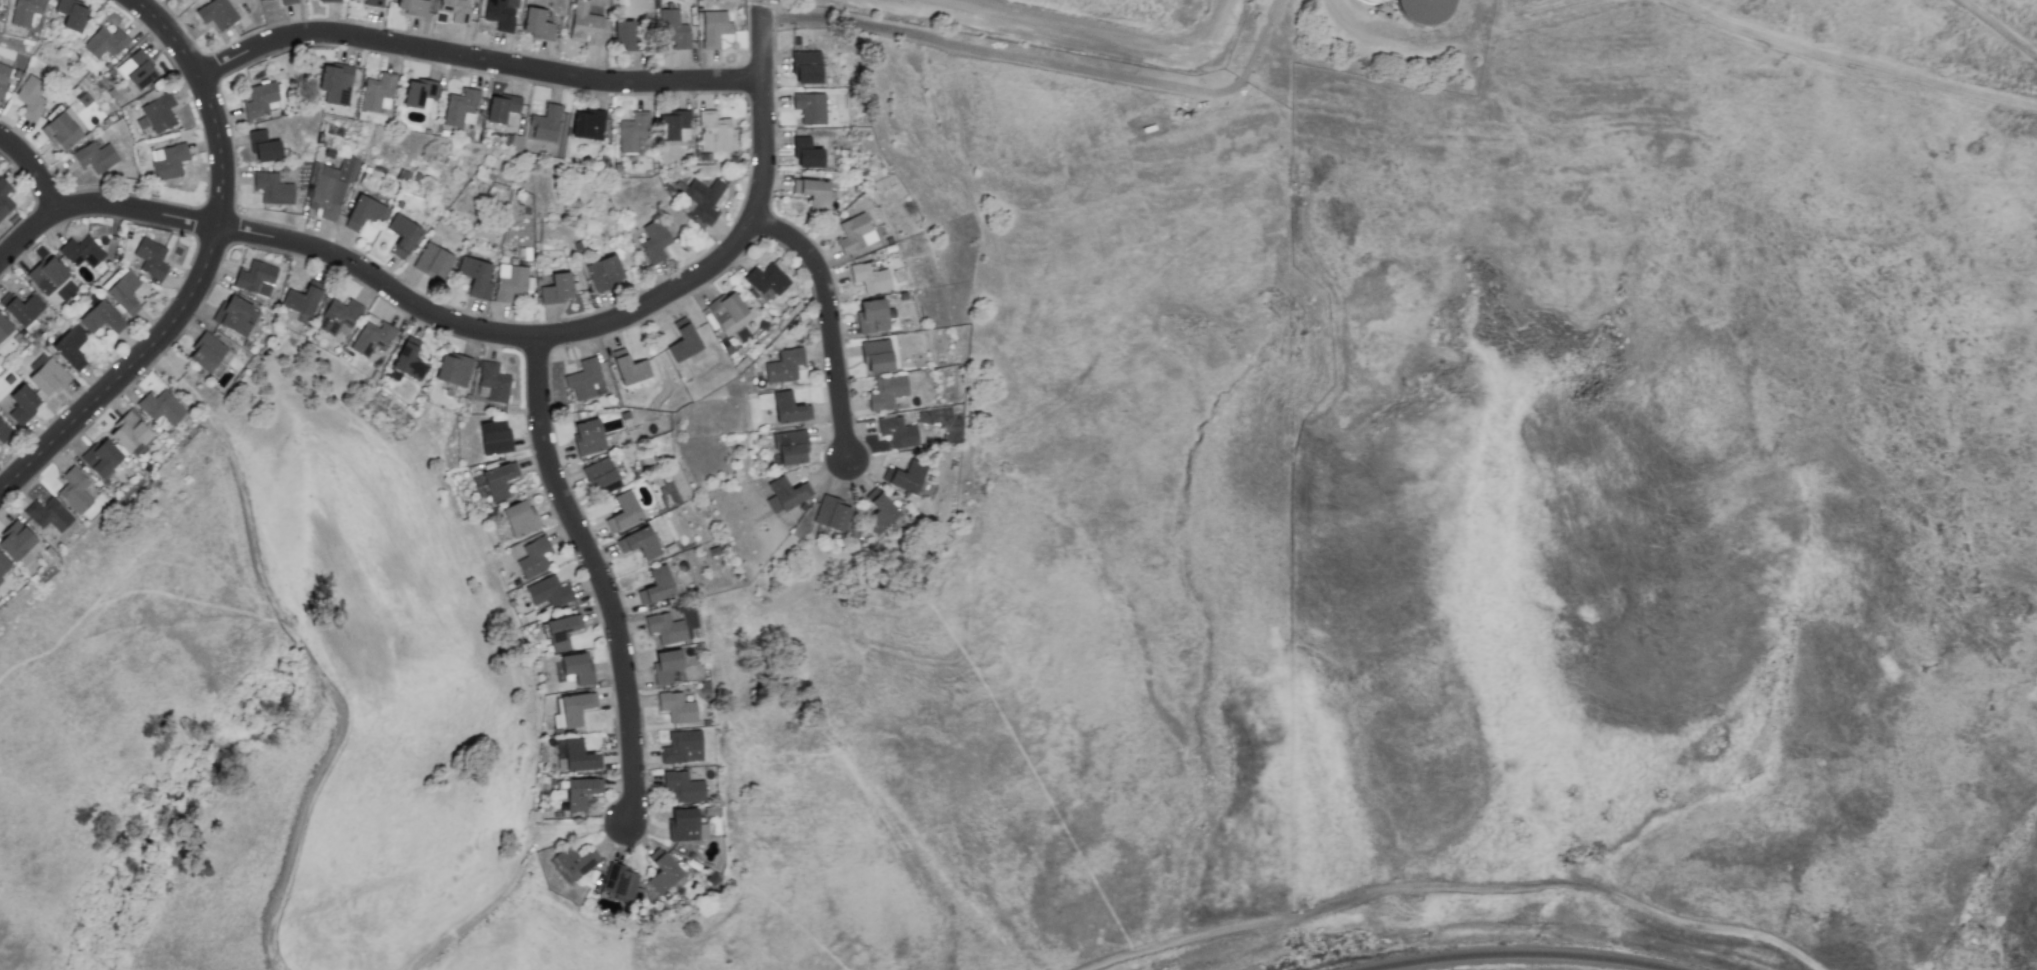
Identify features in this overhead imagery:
building: (266, 0)
building: (329, 1)
building: (288, 2)
building: (372, 3)
building: (414, 7)
building: (1428, 9)
storage tank: (1428, 9)
building: (456, 10)
building: (26, 11)
building: (72, 14)
building: (217, 14)
building: (500, 14)
street lamp: (345, 19)
building: (537, 24)
building: (584, 24)
road: (1996, 28)
building: (673, 29)
building: (714, 29)
road: (1082, 29)
building: (622, 33)
road: (168, 34)
road: (1768, 37)
building: (105, 43)
road: (475, 59)
street lamp: (655, 65)
building: (806, 65)
road: (1045, 66)
building: (137, 70)
building: (4, 77)
street lamp: (492, 78)
building: (335, 84)
street lamp: (777, 88)
building: (377, 92)
building: (420, 94)
building: (32, 97)
building: (262, 100)
building: (460, 108)
building: (500, 108)
building: (810, 108)
building: (157, 114)
building: (545, 123)
building: (588, 124)
building: (674, 126)
building: (63, 129)
road: (215, 130)
building: (632, 132)
building: (712, 134)
building: (264, 147)
building: (807, 153)
building: (95, 157)
building: (168, 162)
road: (32, 170)
building: (332, 187)
building: (272, 189)
building: (815, 193)
street lamp: (203, 196)
building: (4, 199)
building: (701, 200)
road: (218, 207)
building: (365, 213)
building: (855, 234)
building: (402, 236)
building: (636, 236)
street lamp: (40, 240)
building: (655, 241)
street lamp: (713, 243)
building: (80, 251)
building: (151, 259)
building: (433, 262)
building: (604, 271)
building: (47, 275)
building: (476, 277)
building: (870, 277)
building: (256, 278)
building: (767, 280)
building: (510, 282)
building: (557, 289)
building: (124, 293)
building: (302, 299)
street lamp: (840, 302)
building: (21, 309)
building: (730, 313)
building: (337, 315)
building: (237, 317)
building: (872, 317)
building: (101, 319)
road: (828, 320)
building: (4, 328)
road: (477, 328)
building: (372, 338)
building: (683, 341)
building: (70, 348)
building: (206, 353)
building: (877, 355)
building: (409, 360)
building: (784, 366)
building: (629, 368)
building: (454, 370)
road: (126, 372)
building: (48, 378)
building: (588, 380)
building: (492, 383)
building: (886, 392)
building: (22, 404)
building: (161, 407)
building: (789, 408)
building: (3, 431)
building: (897, 432)
building: (129, 433)
building: (588, 437)
building: (494, 438)
building: (790, 447)
building: (101, 458)
building: (601, 476)
building: (907, 477)
building: (498, 481)
street lamp: (849, 485)
building: (673, 488)
building: (74, 490)
street lamp: (539, 490)
building: (788, 493)
building: (625, 510)
building: (832, 514)
building: (880, 514)
building: (48, 515)
building: (519, 518)
building: (15, 541)
building: (639, 543)
building: (534, 558)
building: (3, 565)
street lamp: (618, 578)
road: (602, 580)
building: (658, 585)
building: (548, 592)
building: (665, 628)
building: (561, 631)
building: (666, 666)
building: (577, 668)
road: (728, 694)
building: (676, 708)
building: (572, 710)
street lamp: (614, 732)
building: (682, 747)
building: (576, 755)
building: (683, 787)
building: (580, 792)
building: (686, 826)
street lamp: (632, 850)
building: (576, 862)
building: (664, 876)
building: (620, 881)
road: (512, 884)
railway: (1518, 955)

